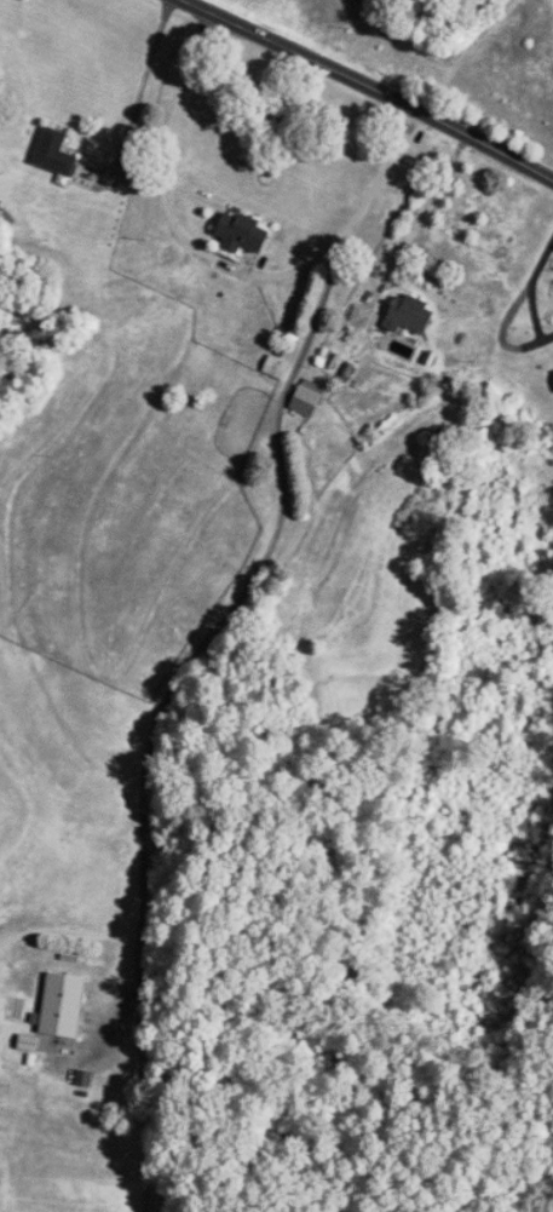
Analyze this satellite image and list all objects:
road: (370, 86)
building: (56, 154)
road: (131, 179)
road: (428, 205)
building: (246, 232)
road: (229, 265)
road: (531, 283)
building: (411, 315)
building: (277, 369)
building: (310, 400)
road: (242, 591)
road: (71, 925)
building: (64, 1005)
road: (151, 1150)

